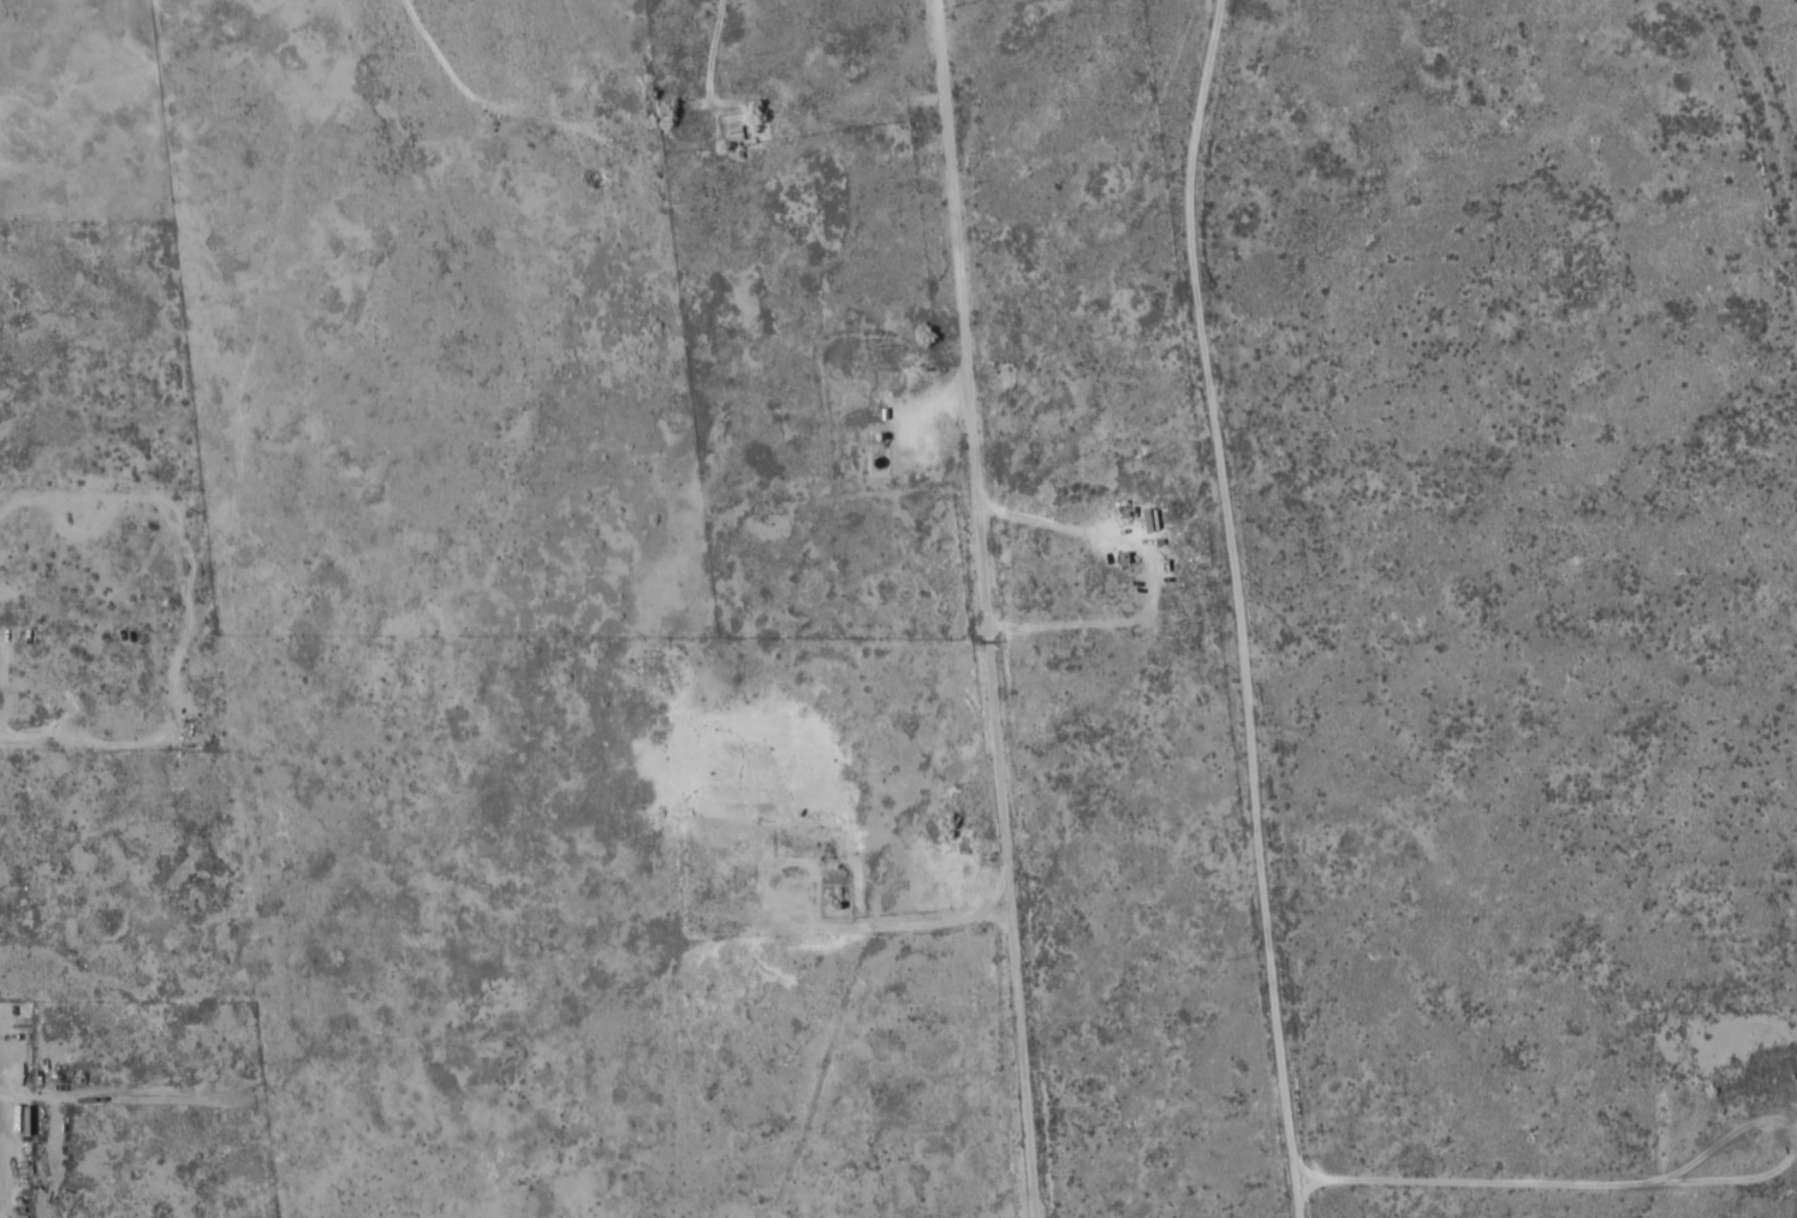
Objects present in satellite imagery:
building: (733, 130)
building: (1150, 518)
road: (989, 608)

